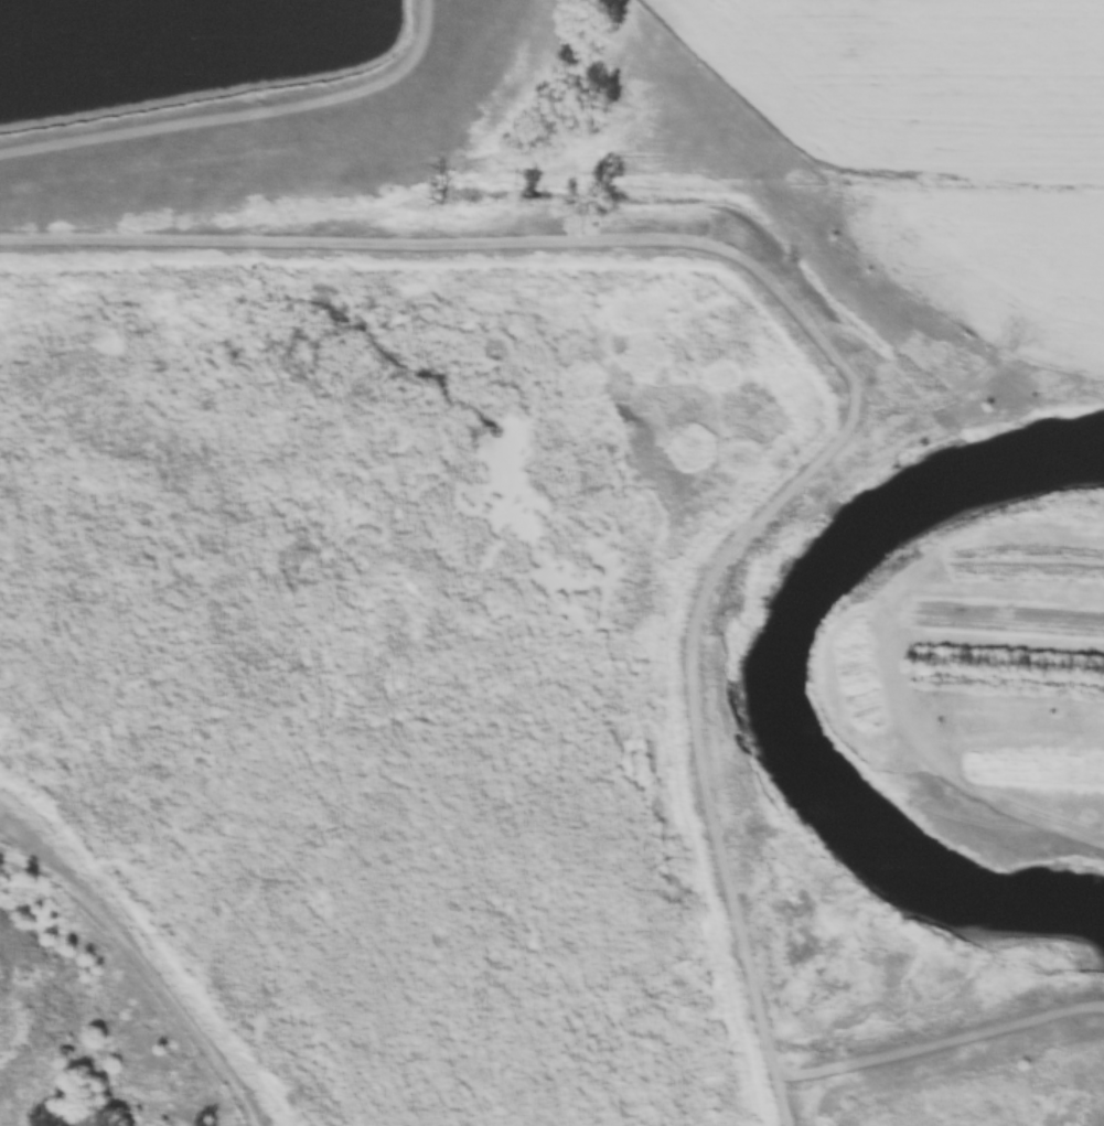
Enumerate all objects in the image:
river: (778, 699)
road: (148, 970)

